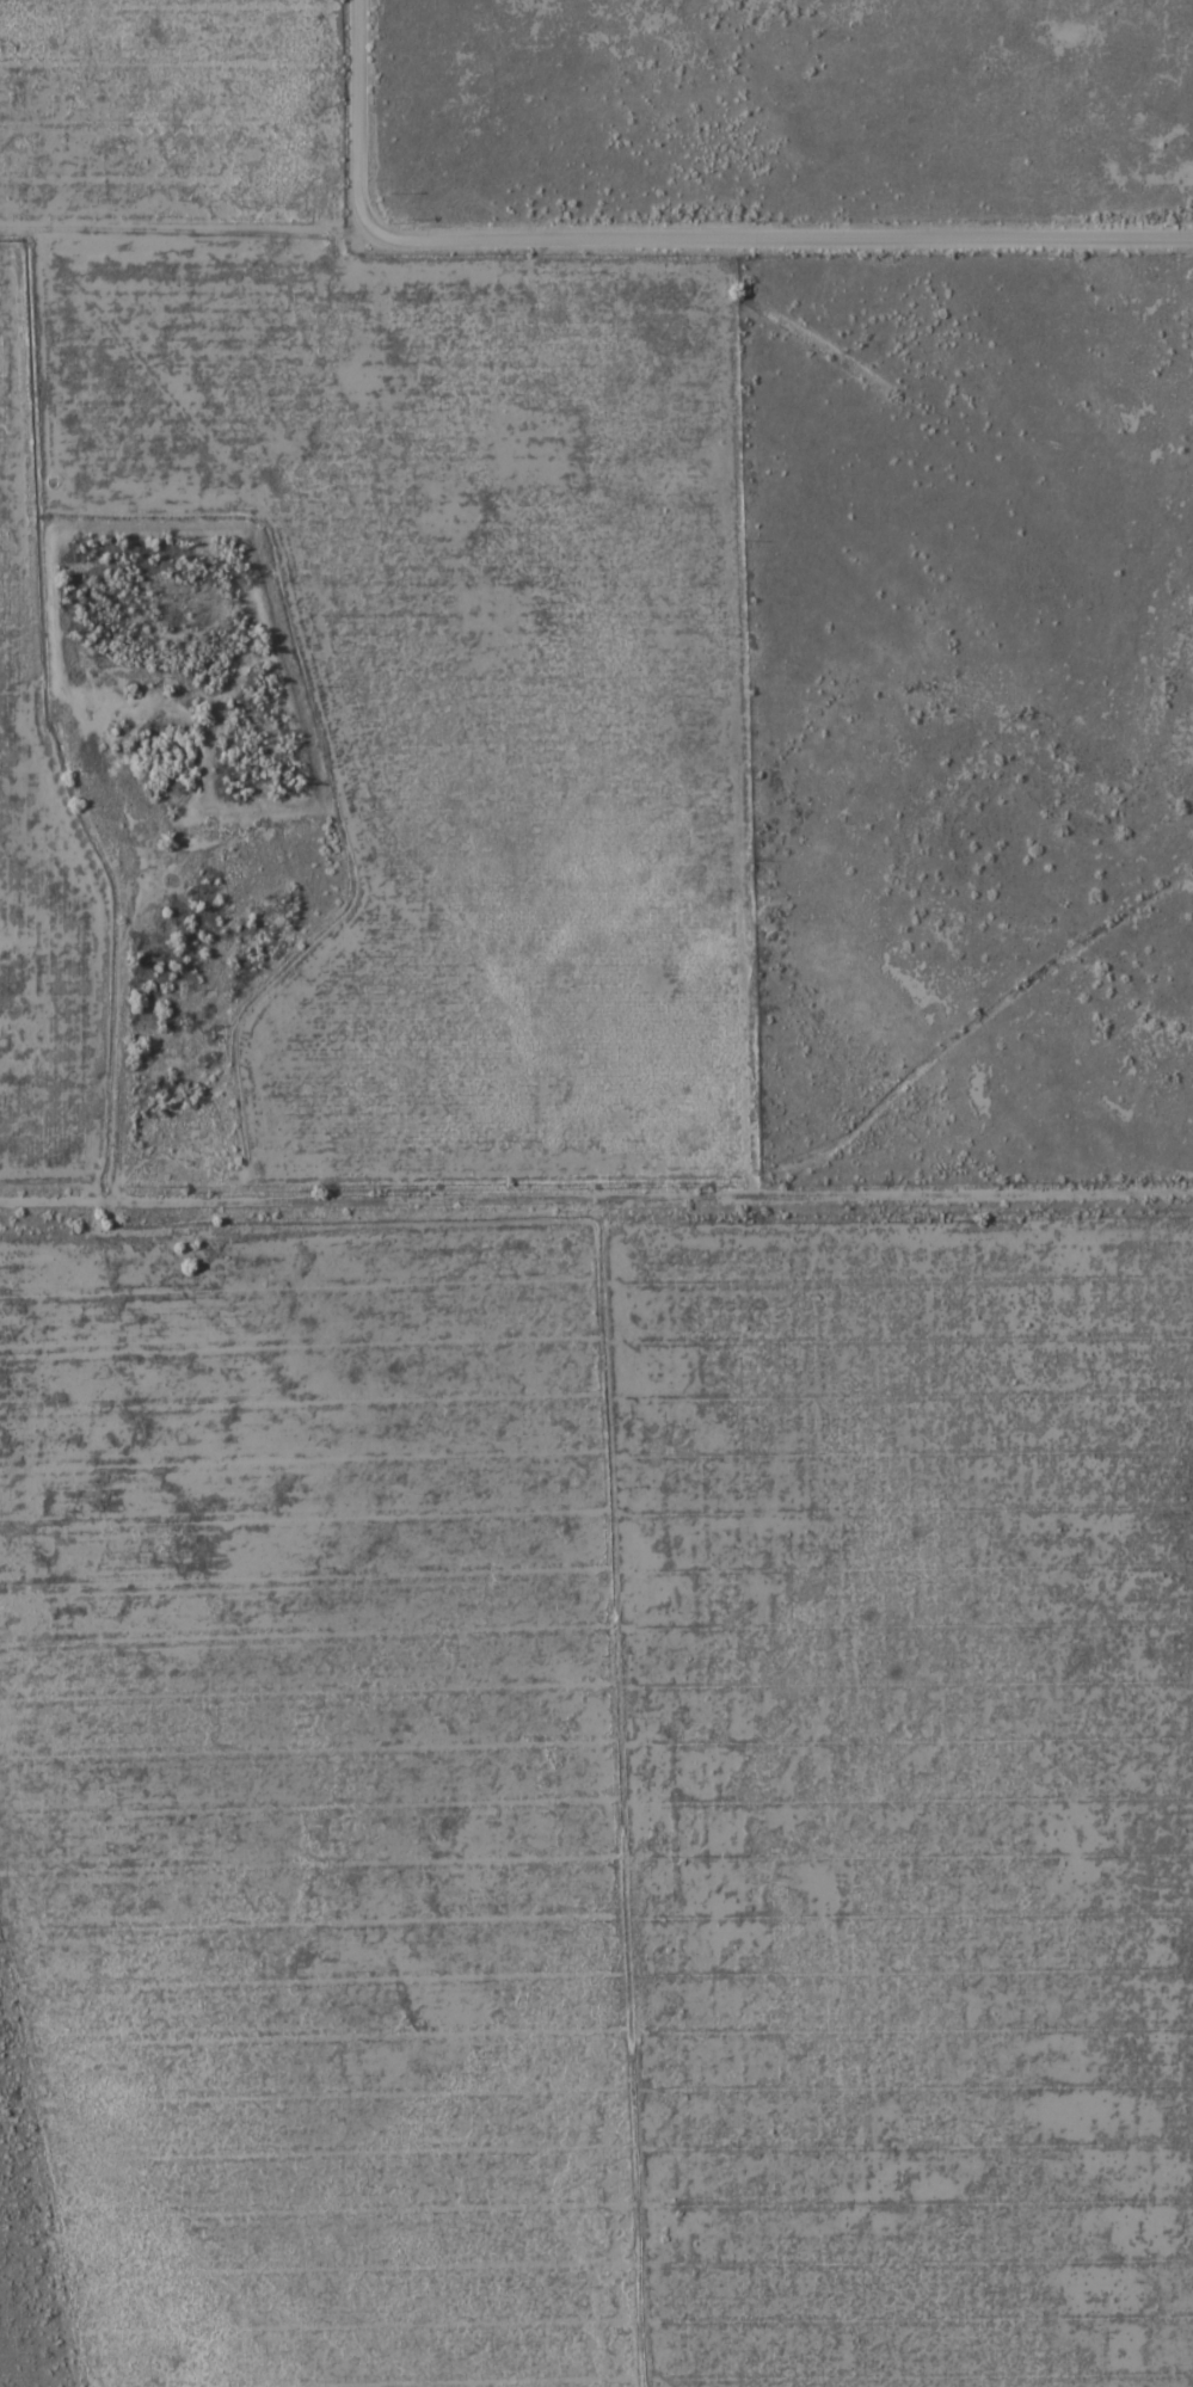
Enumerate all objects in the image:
road: (358, 101)
road: (765, 238)
road: (168, 1033)
road: (596, 1191)

